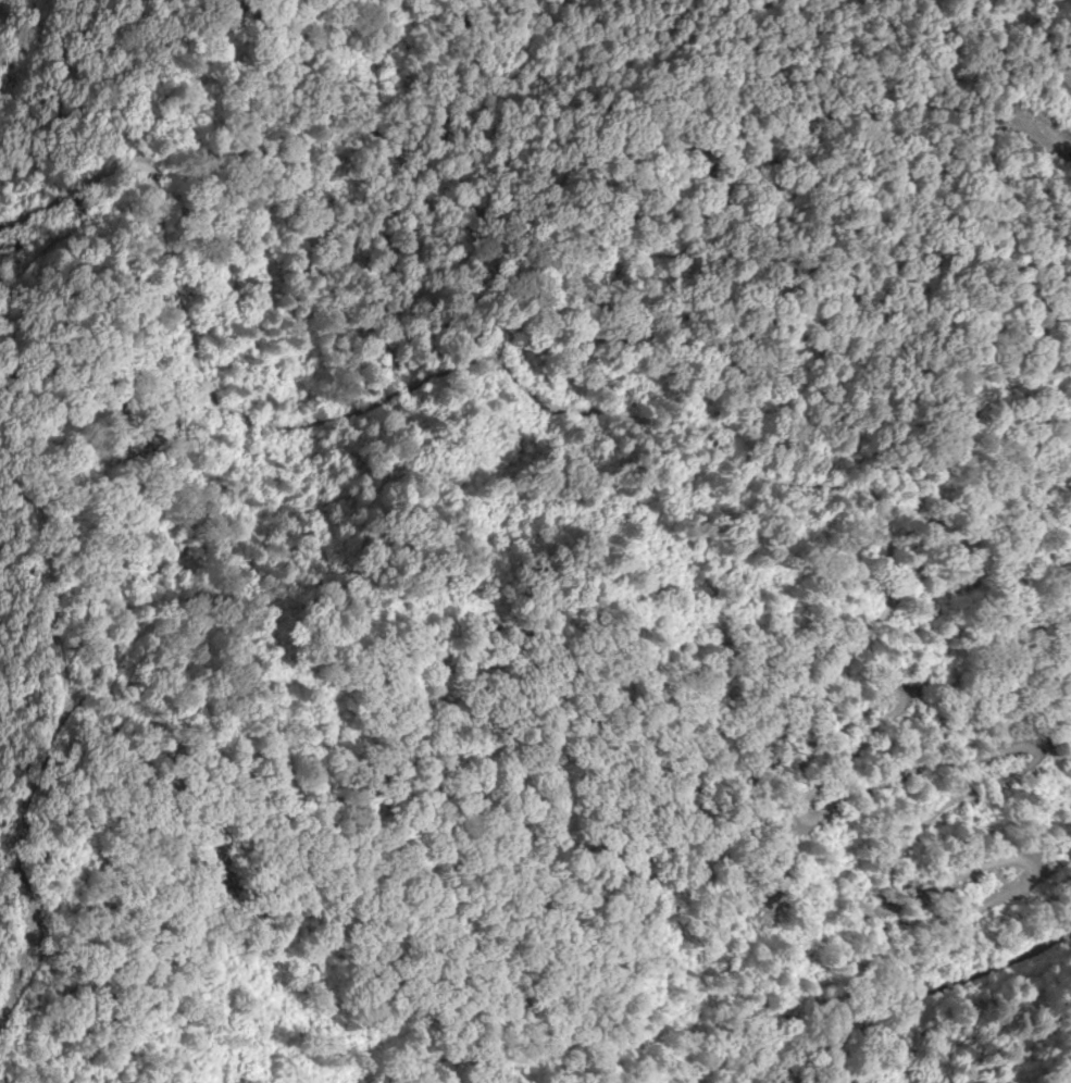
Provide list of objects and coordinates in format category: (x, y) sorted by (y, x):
road: (486, 672)

